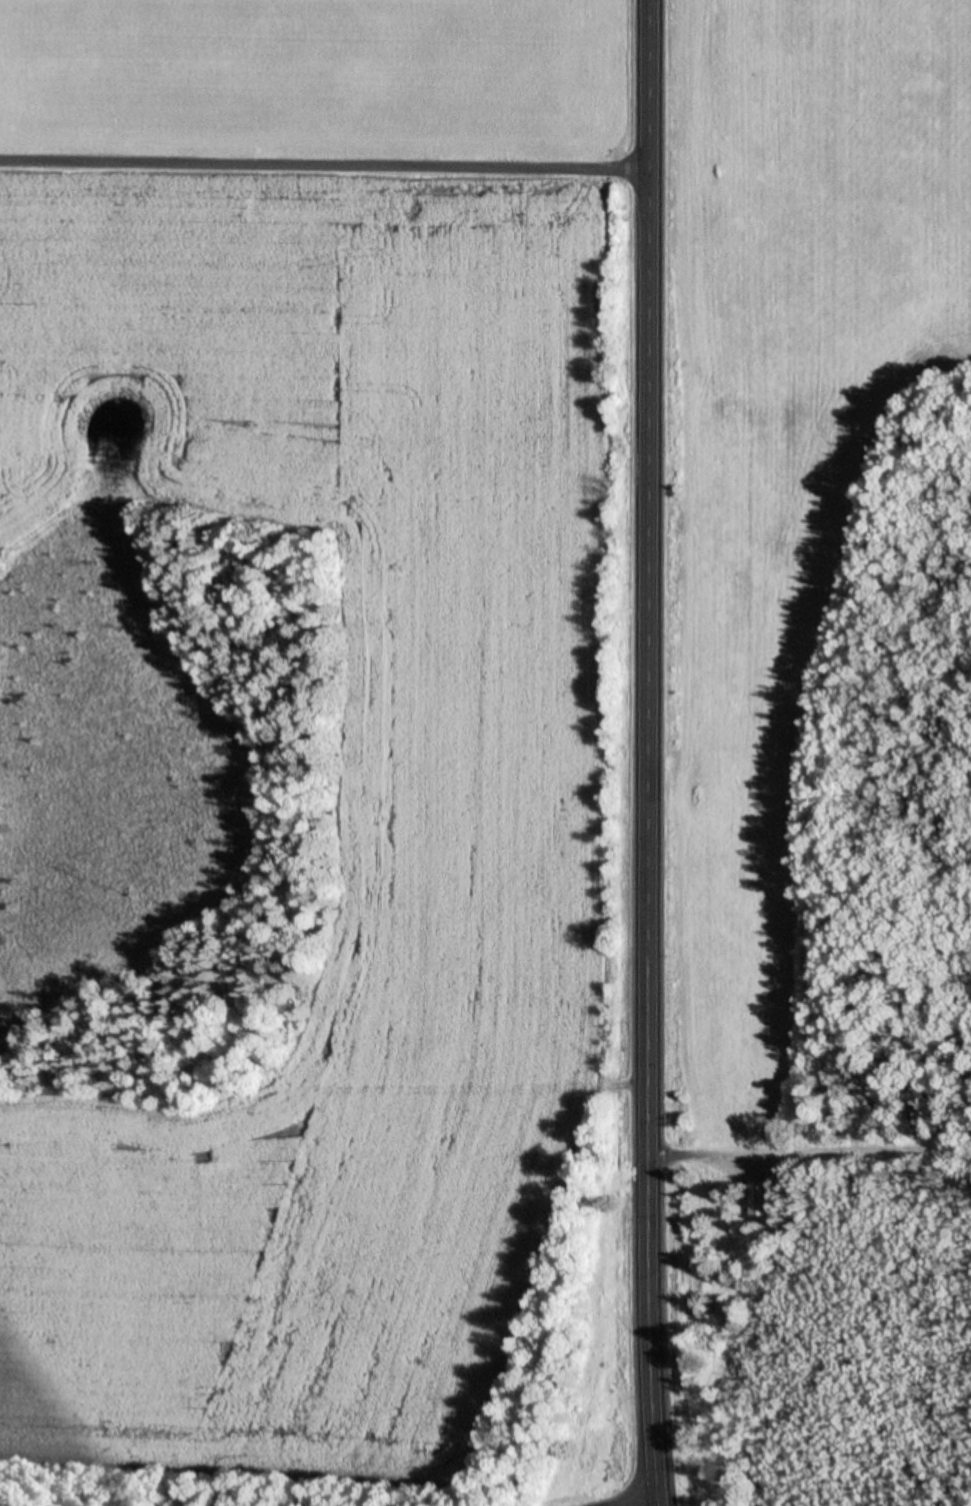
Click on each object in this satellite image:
road: (325, 163)
road: (651, 752)
building: (761, 1198)

